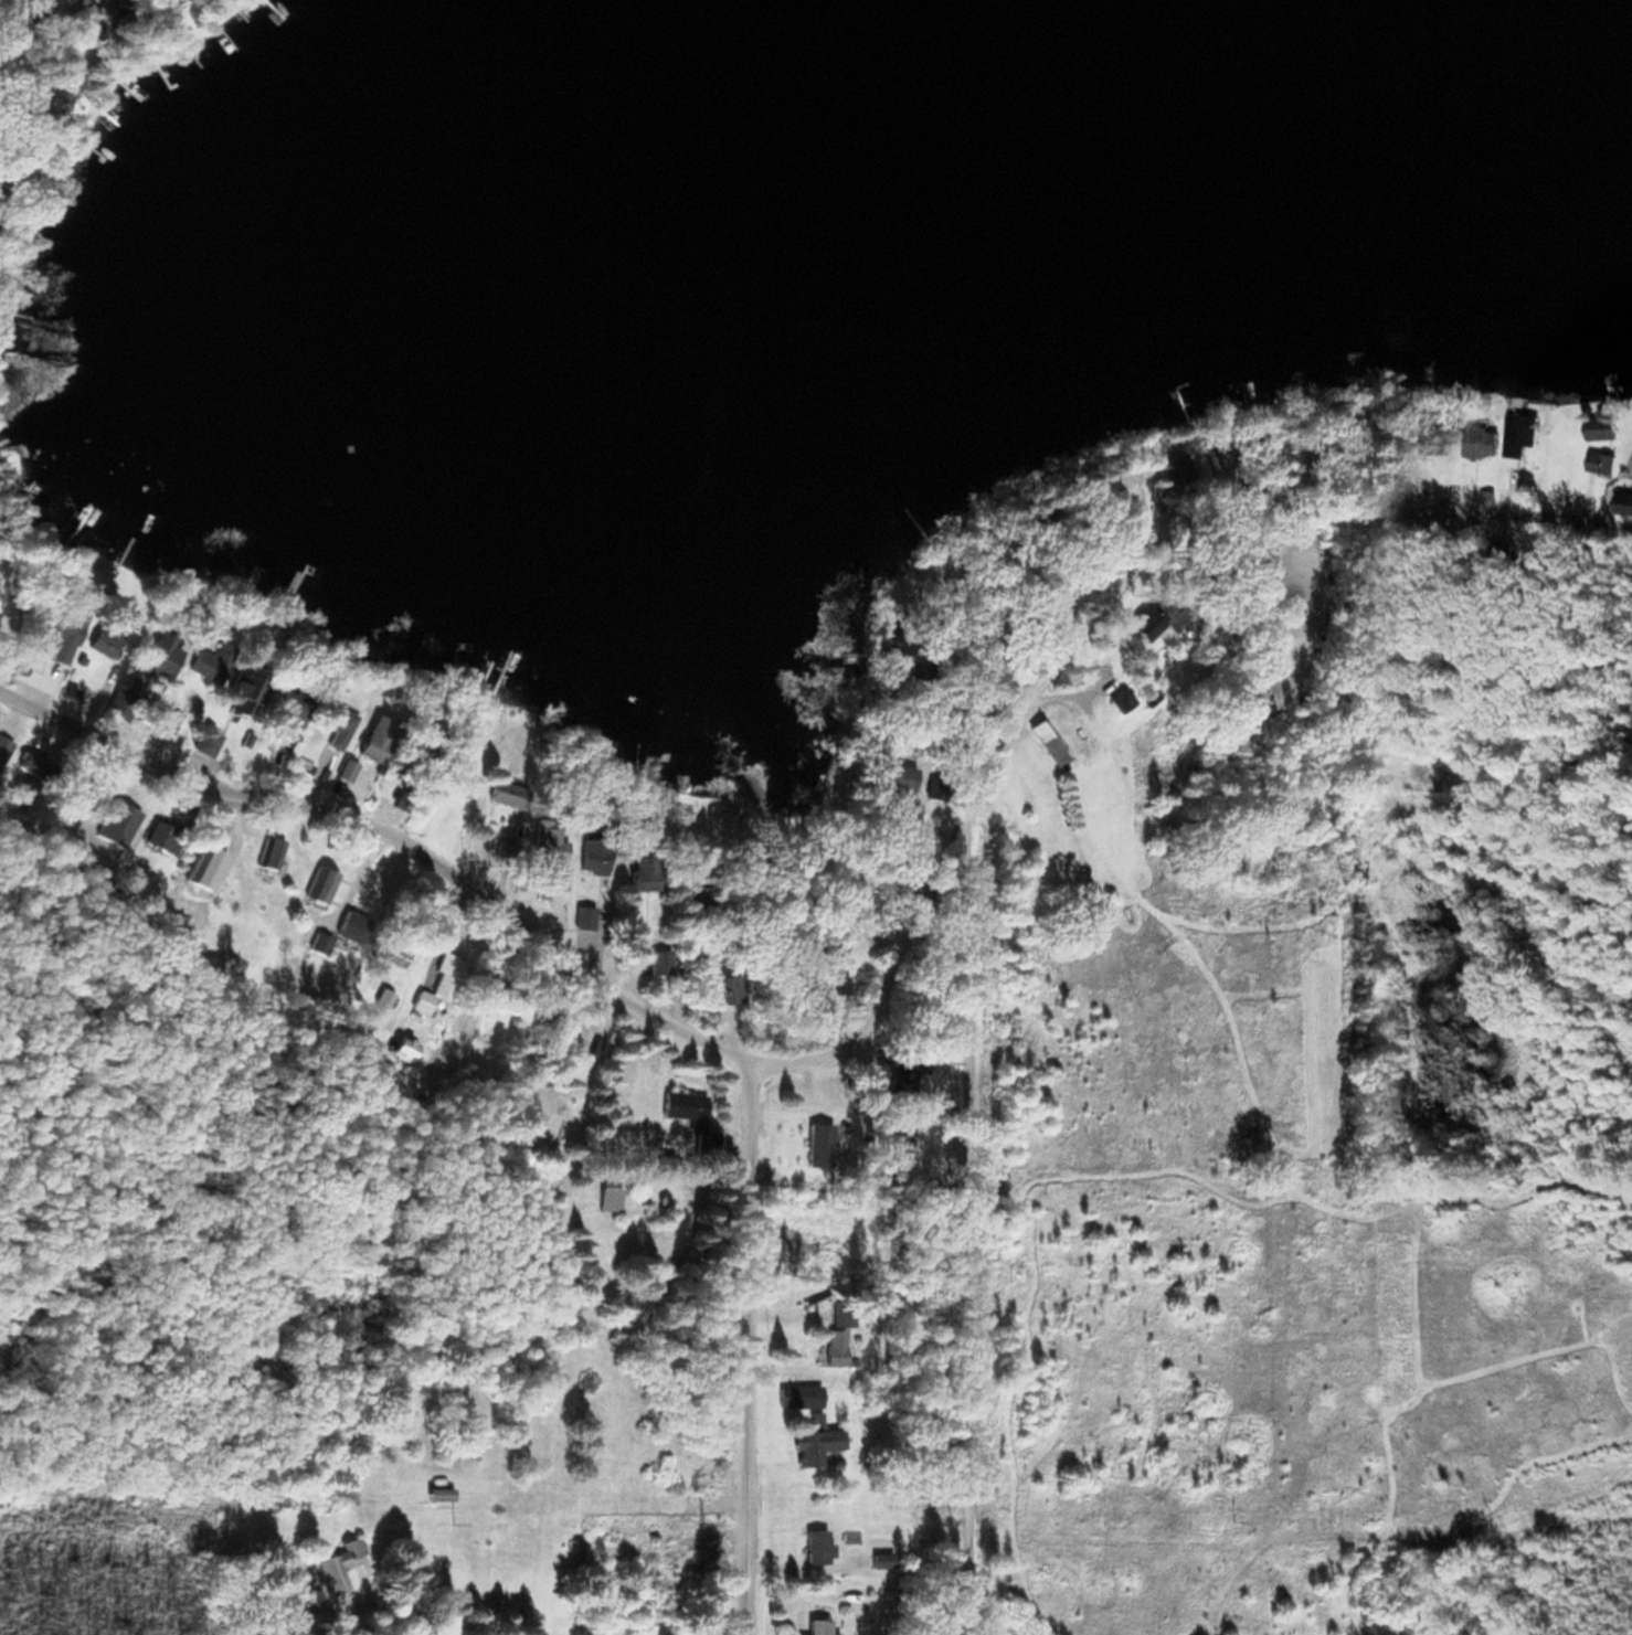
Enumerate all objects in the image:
building: (166, 2)
road: (11, 9)
building: (85, 22)
building: (1601, 428)
building: (1519, 433)
building: (1481, 442)
building: (1600, 461)
building: (1085, 492)
building: (1623, 502)
building: (1151, 618)
building: (61, 628)
building: (102, 639)
building: (155, 659)
building: (245, 688)
building: (1113, 699)
building: (279, 714)
building: (333, 724)
building: (1042, 731)
building: (199, 761)
building: (1102, 772)
road: (968, 811)
road: (432, 850)
building: (267, 852)
building: (590, 856)
building: (544, 858)
building: (638, 877)
building: (318, 888)
building: (582, 912)
building: (658, 962)
building: (812, 966)
building: (436, 986)
building: (401, 1047)
building: (897, 1084)
building: (680, 1104)
building: (814, 1143)
building: (606, 1192)
road: (744, 1344)
building: (834, 1346)
building: (797, 1393)
building: (815, 1444)
building: (437, 1493)
building: (815, 1546)
building: (339, 1557)
building: (818, 1626)

